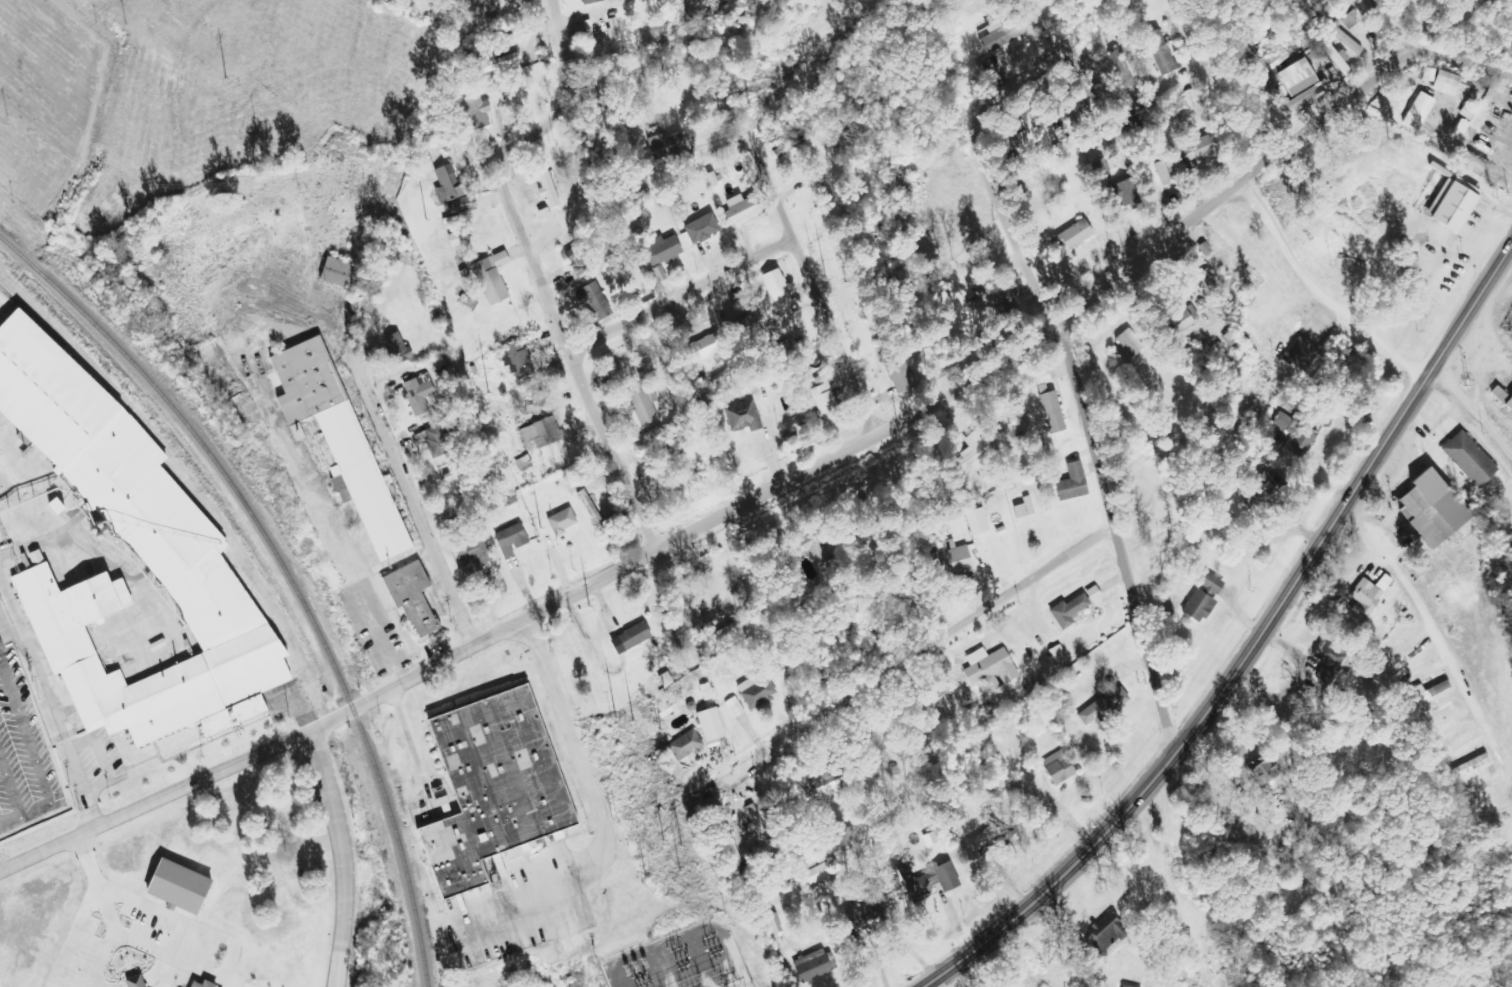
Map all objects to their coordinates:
building: (584, 1)
road: (1404, 27)
building: (615, 29)
building: (1344, 38)
road: (560, 52)
building: (1161, 52)
road: (1459, 57)
building: (498, 62)
building: (1442, 81)
building: (1308, 93)
building: (478, 111)
building: (1419, 112)
road: (14, 128)
road: (518, 148)
building: (1197, 149)
building: (1165, 172)
building: (449, 182)
building: (818, 183)
building: (548, 185)
building: (1124, 193)
building: (463, 205)
building: (1451, 207)
building: (741, 210)
building: (545, 215)
building: (702, 229)
building: (1075, 235)
building: (662, 251)
building: (335, 272)
building: (660, 274)
building: (492, 278)
building: (1208, 278)
road: (810, 286)
building: (777, 289)
road: (678, 293)
building: (995, 298)
building: (595, 302)
building: (1183, 320)
building: (746, 325)
building: (1127, 346)
building: (398, 347)
building: (706, 351)
building: (518, 362)
building: (901, 376)
road: (580, 379)
building: (1042, 379)
road: (1073, 389)
building: (419, 394)
building: (1499, 395)
building: (826, 404)
building: (644, 405)
building: (1508, 405)
building: (1052, 412)
road: (1471, 416)
building: (744, 417)
building: (546, 432)
building: (1296, 433)
building: (337, 437)
building: (432, 440)
building: (973, 441)
building: (1469, 459)
road: (1370, 465)
building: (1072, 483)
road: (419, 499)
building: (140, 506)
building: (590, 507)
building: (53, 508)
road: (732, 508)
building: (1025, 508)
building: (1431, 509)
building: (563, 521)
building: (977, 522)
building: (511, 540)
building: (821, 551)
building: (474, 552)
building: (953, 559)
railway: (285, 571)
road: (1040, 571)
building: (1211, 584)
building: (1094, 594)
building: (1368, 597)
building: (415, 599)
building: (1199, 607)
building: (1069, 611)
building: (630, 638)
building: (990, 669)
building: (759, 694)
building: (673, 707)
building: (737, 707)
building: (1105, 707)
building: (711, 724)
building: (686, 745)
building: (1471, 766)
building: (1060, 767)
building: (1264, 772)
building: (496, 786)
building: (824, 786)
building: (955, 816)
road: (1086, 850)
road: (343, 856)
building: (822, 873)
building: (944, 878)
building: (189, 887)
building: (775, 923)
building: (1108, 933)
power substation: (682, 960)
building: (811, 966)
building: (146, 981)
building: (211, 984)

